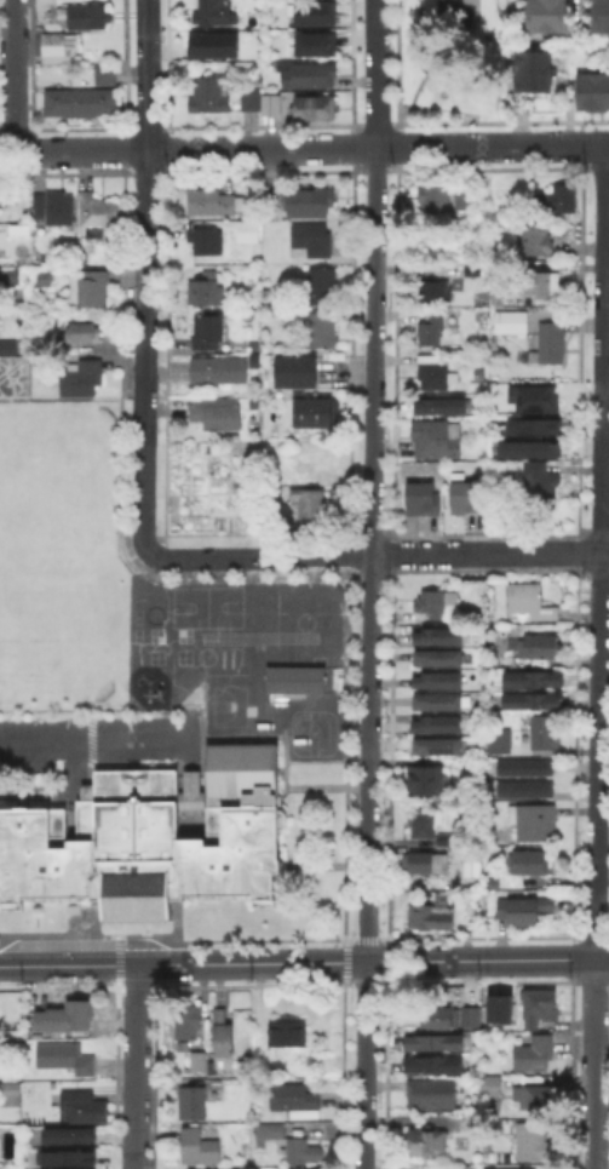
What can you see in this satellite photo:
building: (312, 11)
building: (217, 13)
building: (86, 15)
building: (542, 15)
building: (599, 15)
building: (312, 42)
building: (209, 44)
building: (58, 46)
building: (529, 69)
building: (102, 71)
building: (304, 71)
road: (13, 75)
building: (591, 88)
building: (211, 96)
building: (76, 99)
building: (251, 102)
building: (272, 105)
building: (314, 108)
road: (304, 147)
building: (441, 196)
building: (559, 200)
building: (212, 202)
building: (310, 202)
building: (54, 208)
building: (100, 217)
building: (248, 233)
building: (311, 241)
building: (541, 241)
building: (208, 242)
building: (473, 270)
road: (145, 275)
building: (11, 277)
building: (44, 282)
building: (323, 286)
building: (540, 286)
building: (90, 290)
building: (207, 291)
building: (435, 293)
building: (507, 320)
building: (432, 330)
building: (323, 331)
building: (454, 332)
building: (209, 333)
building: (84, 334)
building: (546, 343)
building: (8, 348)
building: (222, 371)
building: (479, 373)
building: (298, 374)
building: (435, 376)
building: (82, 379)
building: (479, 385)
building: (529, 396)
building: (443, 407)
building: (218, 414)
building: (316, 417)
building: (530, 425)
building: (437, 442)
building: (527, 447)
building: (541, 485)
building: (252, 488)
building: (467, 499)
building: (423, 502)
building: (312, 504)
building: (253, 521)
road: (375, 552)
park: (53, 566)
road: (160, 569)
road: (370, 584)
building: (532, 601)
park: (205, 606)
building: (438, 606)
park: (153, 613)
park: (136, 614)
park: (303, 620)
park: (136, 634)
park: (155, 634)
park: (183, 634)
track: (258, 636)
building: (441, 638)
building: (540, 648)
park: (155, 655)
park: (183, 655)
park: (205, 655)
road: (598, 655)
building: (442, 660)
building: (493, 663)
building: (530, 677)
building: (292, 678)
building: (441, 683)
building: (529, 700)
park: (228, 704)
building: (442, 704)
road: (202, 709)
park: (248, 709)
building: (441, 727)
road: (190, 734)
building: (546, 734)
parking lot: (45, 735)
building: (496, 739)
road: (94, 745)
building: (439, 747)
road: (282, 758)
road: (285, 761)
building: (525, 769)
building: (430, 783)
road: (56, 791)
building: (525, 791)
building: (425, 824)
building: (534, 826)
building: (148, 837)
building: (449, 841)
building: (431, 864)
building: (532, 865)
building: (525, 912)
building: (432, 919)
road: (398, 962)
road: (94, 965)
building: (496, 1008)
building: (542, 1009)
building: (61, 1015)
building: (469, 1015)
building: (189, 1022)
building: (439, 1022)
building: (225, 1037)
building: (286, 1038)
building: (433, 1042)
building: (534, 1054)
building: (67, 1059)
building: (200, 1062)
building: (432, 1065)
road: (136, 1067)
building: (492, 1087)
building: (10, 1091)
building: (435, 1094)
building: (295, 1100)
building: (535, 1100)
building: (197, 1102)
building: (85, 1108)
building: (472, 1123)
building: (67, 1134)
building: (476, 1140)
building: (538, 1141)
building: (291, 1145)
building: (429, 1146)
building: (200, 1148)
building: (65, 1156)
building: (230, 1168)
building: (298, 1168)
building: (470, 1168)
building: (509, 1168)

